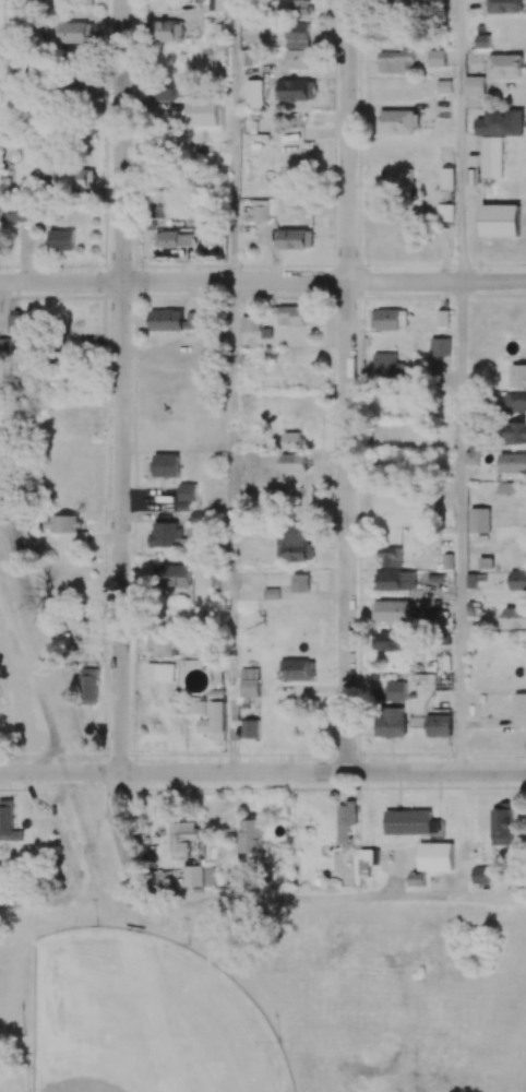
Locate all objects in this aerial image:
building: (217, 5)
building: (295, 7)
building: (504, 7)
building: (165, 31)
building: (76, 32)
building: (298, 47)
building: (435, 58)
building: (394, 61)
building: (504, 66)
building: (475, 85)
building: (73, 88)
building: (297, 90)
building: (253, 93)
building: (187, 99)
building: (397, 121)
building: (500, 122)
road: (462, 140)
road: (232, 141)
building: (491, 157)
building: (396, 175)
building: (74, 178)
building: (446, 178)
building: (163, 209)
building: (260, 210)
building: (444, 212)
building: (19, 213)
building: (500, 219)
building: (172, 239)
building: (297, 239)
building: (60, 240)
road: (263, 281)
building: (295, 314)
building: (392, 319)
building: (174, 321)
building: (17, 322)
building: (250, 323)
building: (388, 366)
building: (517, 376)
road: (347, 385)
road: (120, 387)
building: (514, 402)
building: (516, 432)
building: (292, 452)
building: (471, 458)
building: (512, 463)
building: (166, 465)
building: (512, 494)
building: (187, 497)
building: (479, 520)
road: (461, 525)
building: (67, 529)
building: (165, 534)
building: (295, 543)
building: (390, 557)
building: (177, 579)
building: (394, 580)
building: (517, 580)
building: (300, 583)
building: (391, 610)
building: (515, 617)
building: (393, 641)
building: (159, 644)
building: (299, 669)
building: (159, 672)
building: (249, 681)
building: (87, 686)
building: (396, 690)
building: (215, 695)
building: (188, 705)
building: (519, 710)
building: (215, 722)
building: (391, 722)
building: (439, 726)
building: (250, 728)
road: (263, 772)
building: (370, 816)
building: (346, 819)
building: (8, 822)
building: (410, 822)
building: (501, 827)
building: (250, 835)
road: (120, 836)
building: (181, 838)
building: (435, 856)
building: (366, 863)
building: (192, 876)
building: (480, 876)
building: (210, 877)
building: (416, 879)
road: (68, 901)
road: (331, 901)
park: (251, 984)
road: (151, 997)
park: (92, 1069)

